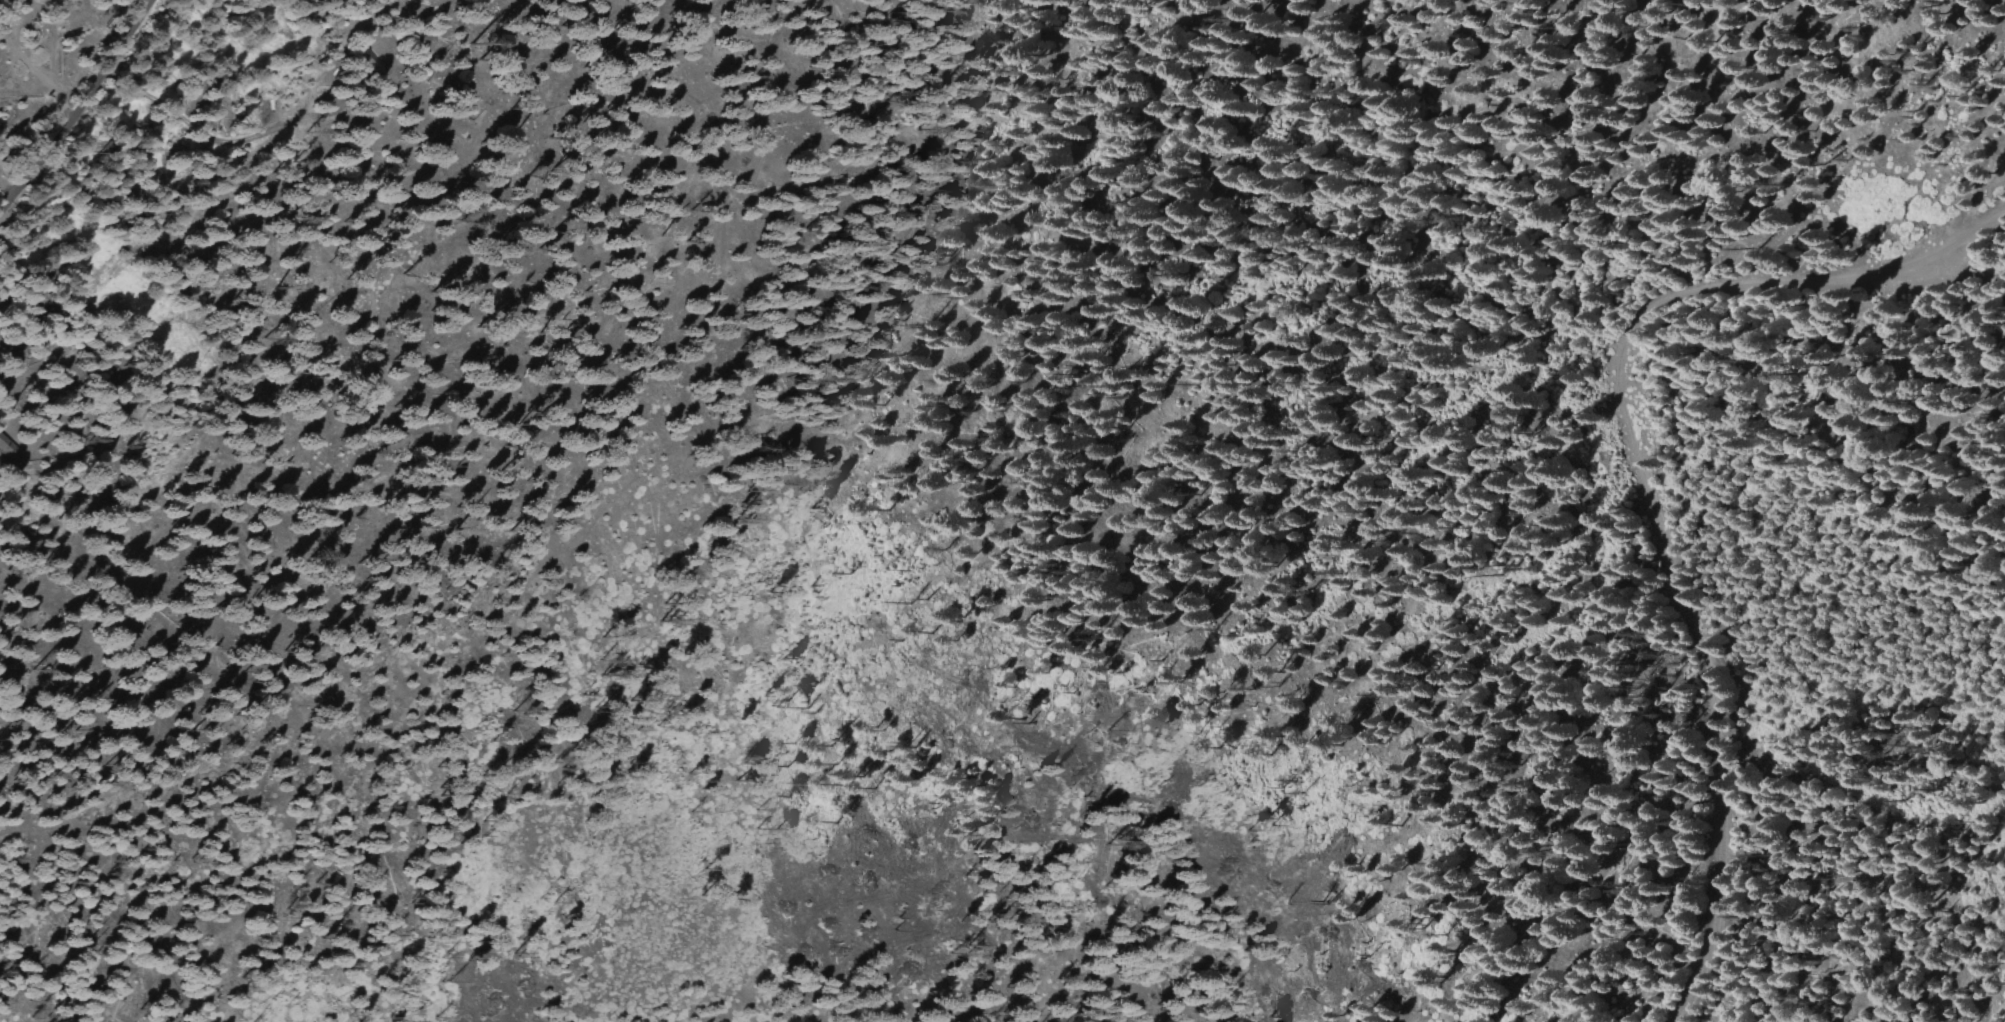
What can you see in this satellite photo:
road: (77, 105)
road: (1776, 278)
road: (1691, 713)

